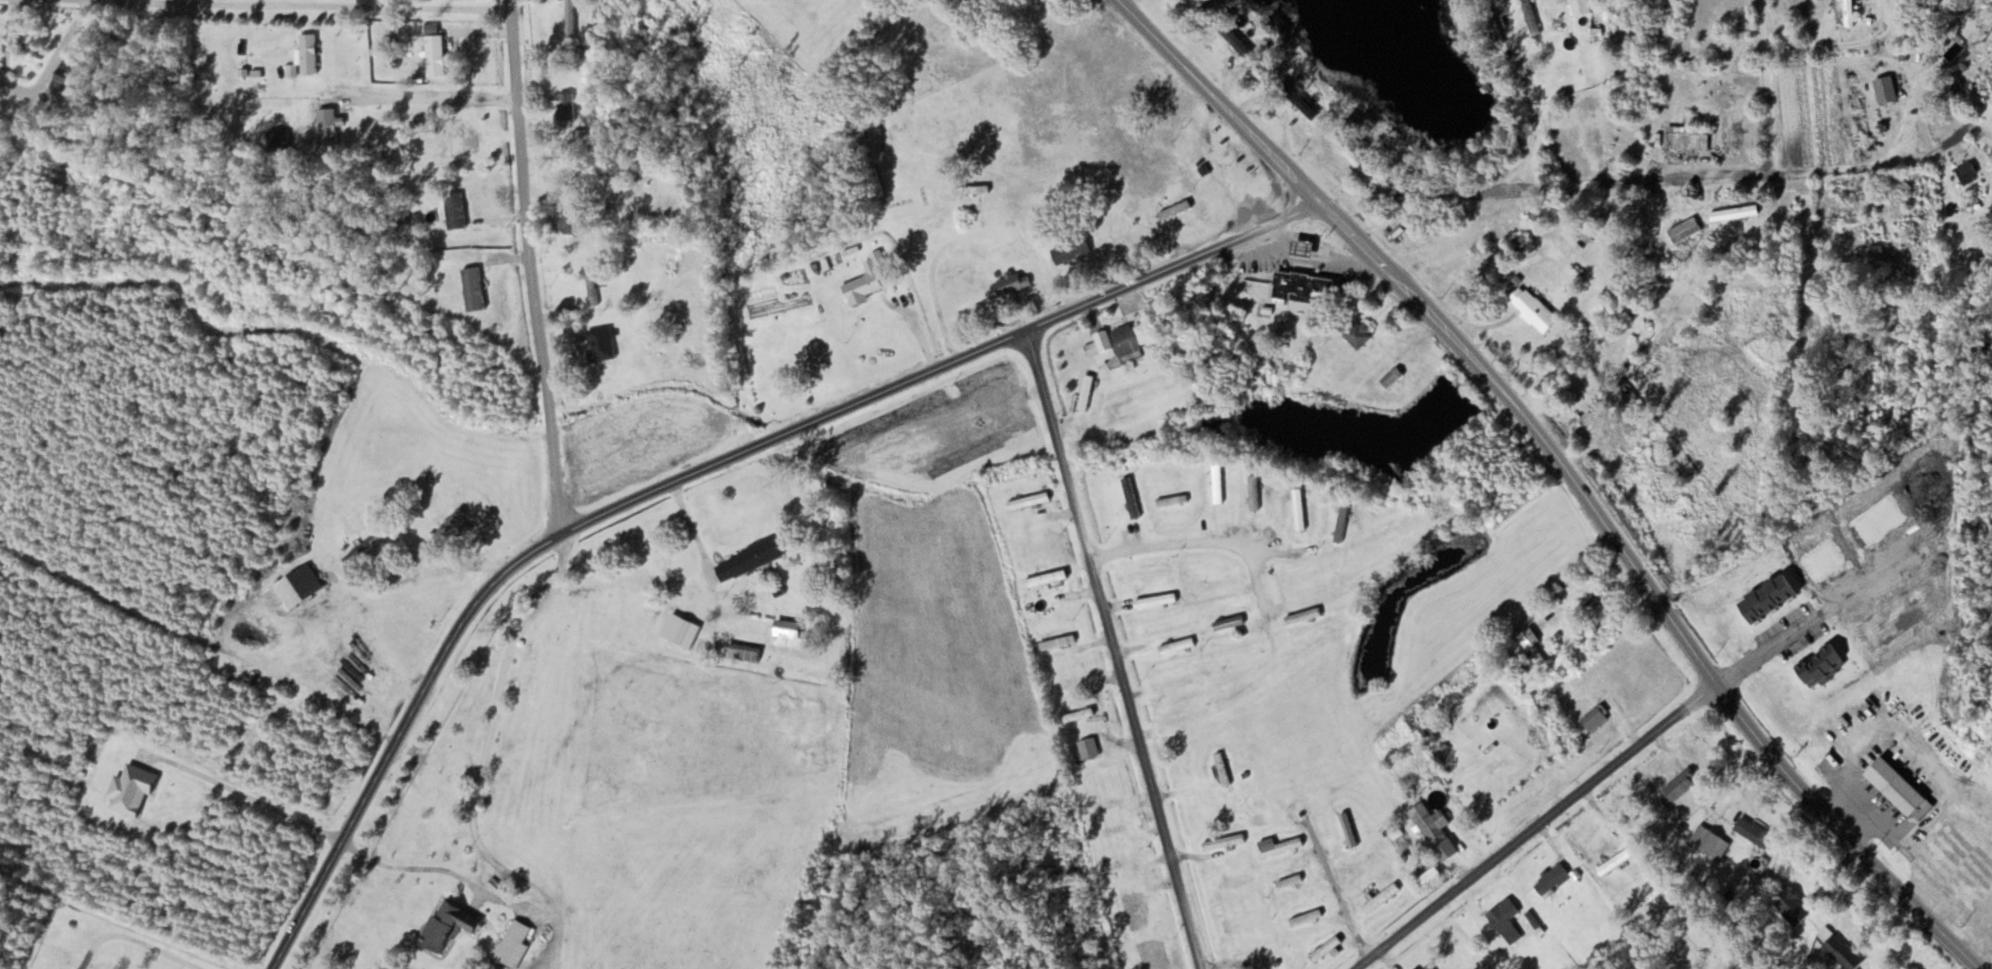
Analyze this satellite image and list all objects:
building: (969, 3)
road: (367, 5)
building: (1580, 6)
building: (1849, 12)
building: (570, 18)
building: (1035, 20)
building: (1227, 33)
building: (309, 52)
building: (435, 54)
building: (64, 76)
road: (1765, 83)
building: (1886, 88)
road: (1223, 99)
building: (564, 107)
building: (1306, 107)
building: (327, 130)
building: (1690, 138)
building: (279, 139)
building: (872, 140)
building: (1352, 155)
building: (1967, 171)
road: (1631, 174)
building: (971, 189)
building: (455, 210)
building: (1735, 213)
building: (568, 221)
building: (1858, 222)
building: (1685, 229)
building: (1394, 230)
building: (1305, 248)
building: (1071, 249)
road: (532, 265)
building: (865, 281)
building: (1012, 283)
building: (1305, 287)
building: (473, 289)
building: (592, 289)
crop: (770, 299)
road: (191, 300)
building: (1535, 309)
building: (1357, 332)
building: (604, 337)
building: (1122, 341)
building: (1394, 379)
building: (1086, 392)
crop: (934, 433)
road: (698, 470)
building: (1218, 481)
building: (1254, 491)
building: (1131, 496)
building: (1029, 499)
building: (1172, 500)
building: (1299, 507)
building: (1342, 522)
road: (1195, 541)
building: (749, 558)
road: (475, 567)
building: (1046, 577)
building: (1220, 582)
road: (1651, 586)
road: (1262, 589)
building: (1156, 599)
building: (1598, 605)
building: (1303, 614)
building: (1229, 621)
building: (790, 632)
road: (187, 635)
building: (1058, 640)
road: (375, 642)
building: (1177, 645)
building: (728, 648)
road: (1114, 649)
crop: (1454, 679)
building: (1180, 680)
building: (1068, 683)
building: (1078, 714)
building: (1595, 718)
crop: (1506, 726)
building: (1089, 747)
building: (1222, 768)
building: (1682, 784)
building: (1900, 788)
building: (1110, 803)
building: (1258, 819)
road: (1539, 823)
building: (1348, 829)
building: (1435, 830)
building: (1755, 831)
building: (1224, 841)
building: (1710, 841)
building: (1280, 845)
building: (1127, 859)
building: (1616, 860)
building: (1553, 879)
building: (1290, 880)
building: (1236, 881)
road: (1335, 889)
building: (1381, 897)
building: (1794, 905)
building: (1134, 912)
building: (1306, 916)
building: (1247, 918)
building: (1505, 918)
building: (447, 923)
road: (1894, 931)
road: (134, 937)
building: (514, 942)
building: (1325, 947)
building: (1844, 952)
building: (1425, 966)

